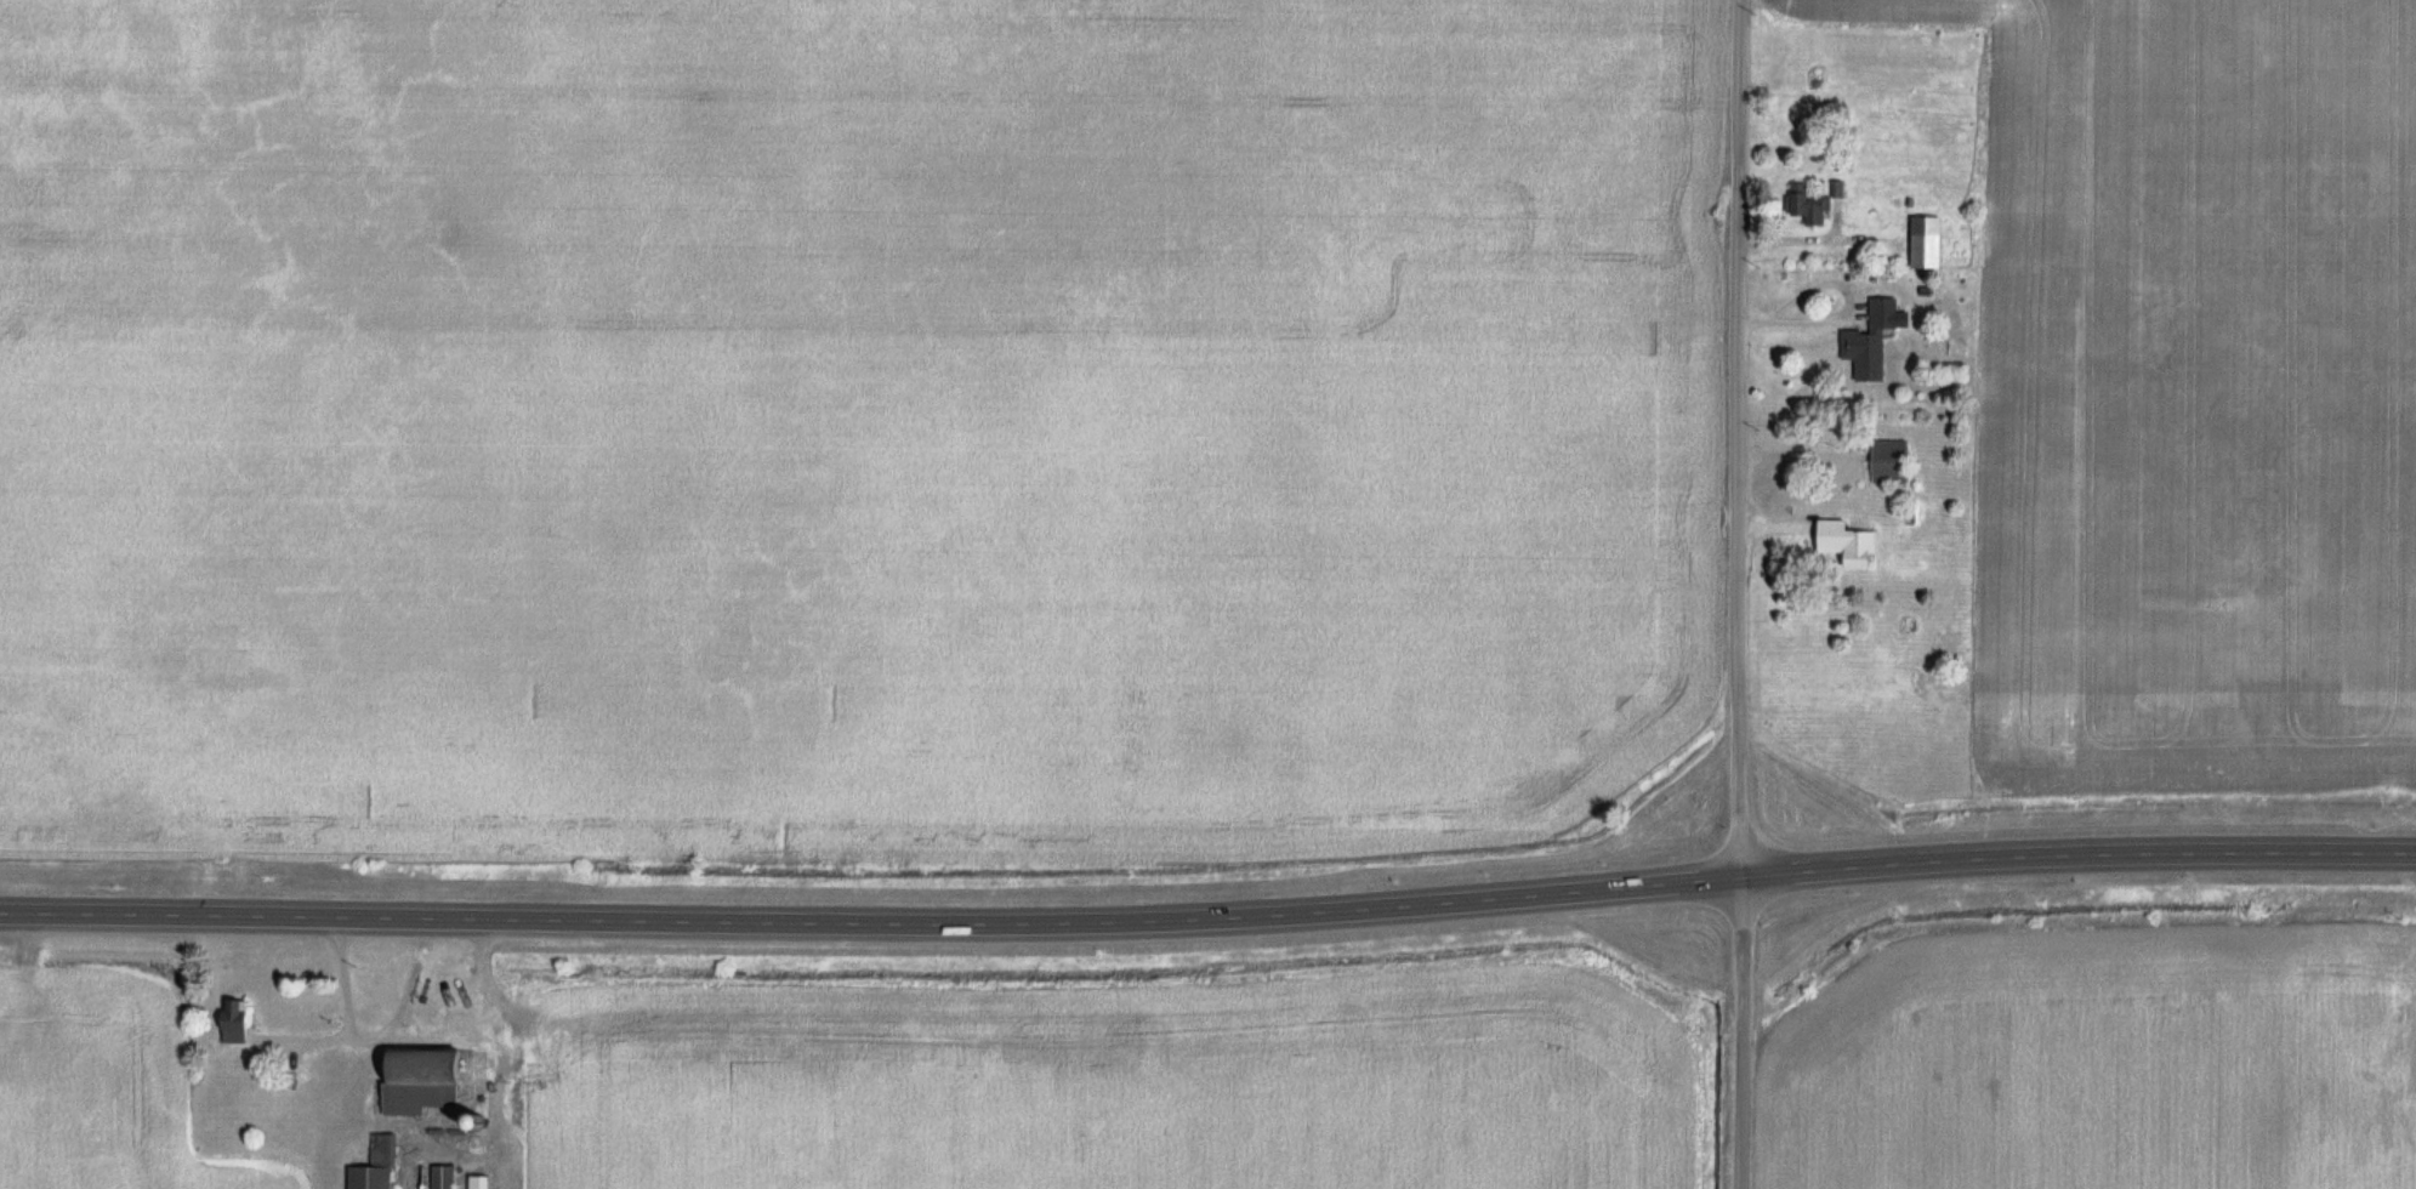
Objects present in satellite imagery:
building: (1812, 205)
building: (1932, 243)
building: (1875, 341)
building: (1893, 461)
building: (1852, 542)
road: (1732, 593)
road: (2071, 855)
road: (865, 923)
building: (2361, 1009)
building: (239, 1020)
road: (370, 1035)
building: (427, 1079)
building: (379, 1165)
building: (445, 1177)
building: (483, 1181)

